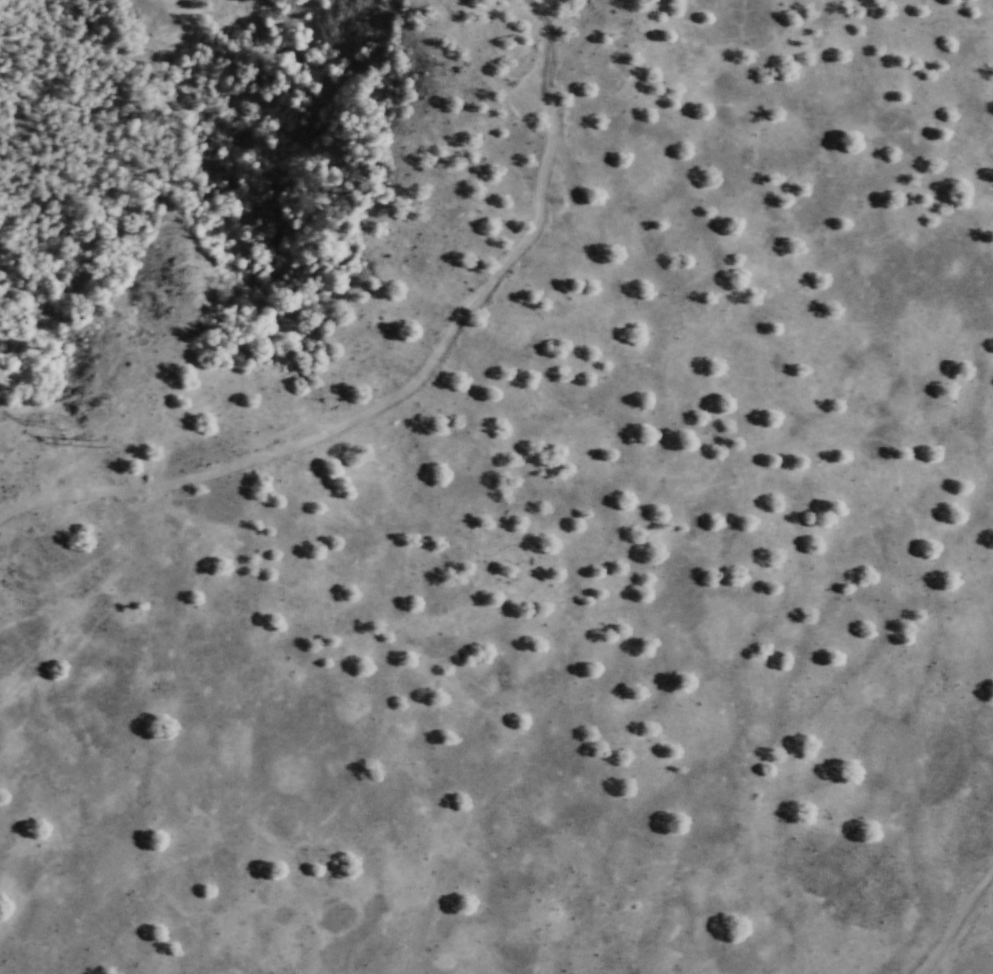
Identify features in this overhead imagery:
road: (409, 382)
power tower: (63, 429)
power tower: (108, 452)
road: (954, 921)

